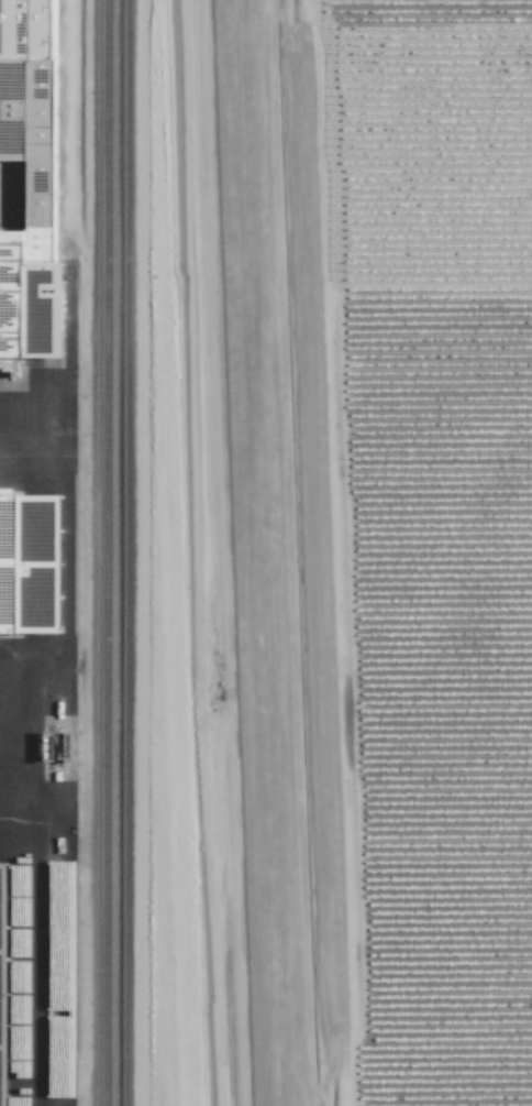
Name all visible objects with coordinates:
building: (48, 198)
railway: (98, 552)
railway: (109, 552)
railway: (126, 552)
railway: (147, 552)
railway: (174, 552)
railway: (218, 552)
railway: (239, 552)
railway: (255, 552)
railway: (273, 552)
railway: (293, 552)
building: (8, 992)
railway: (81, 1094)

